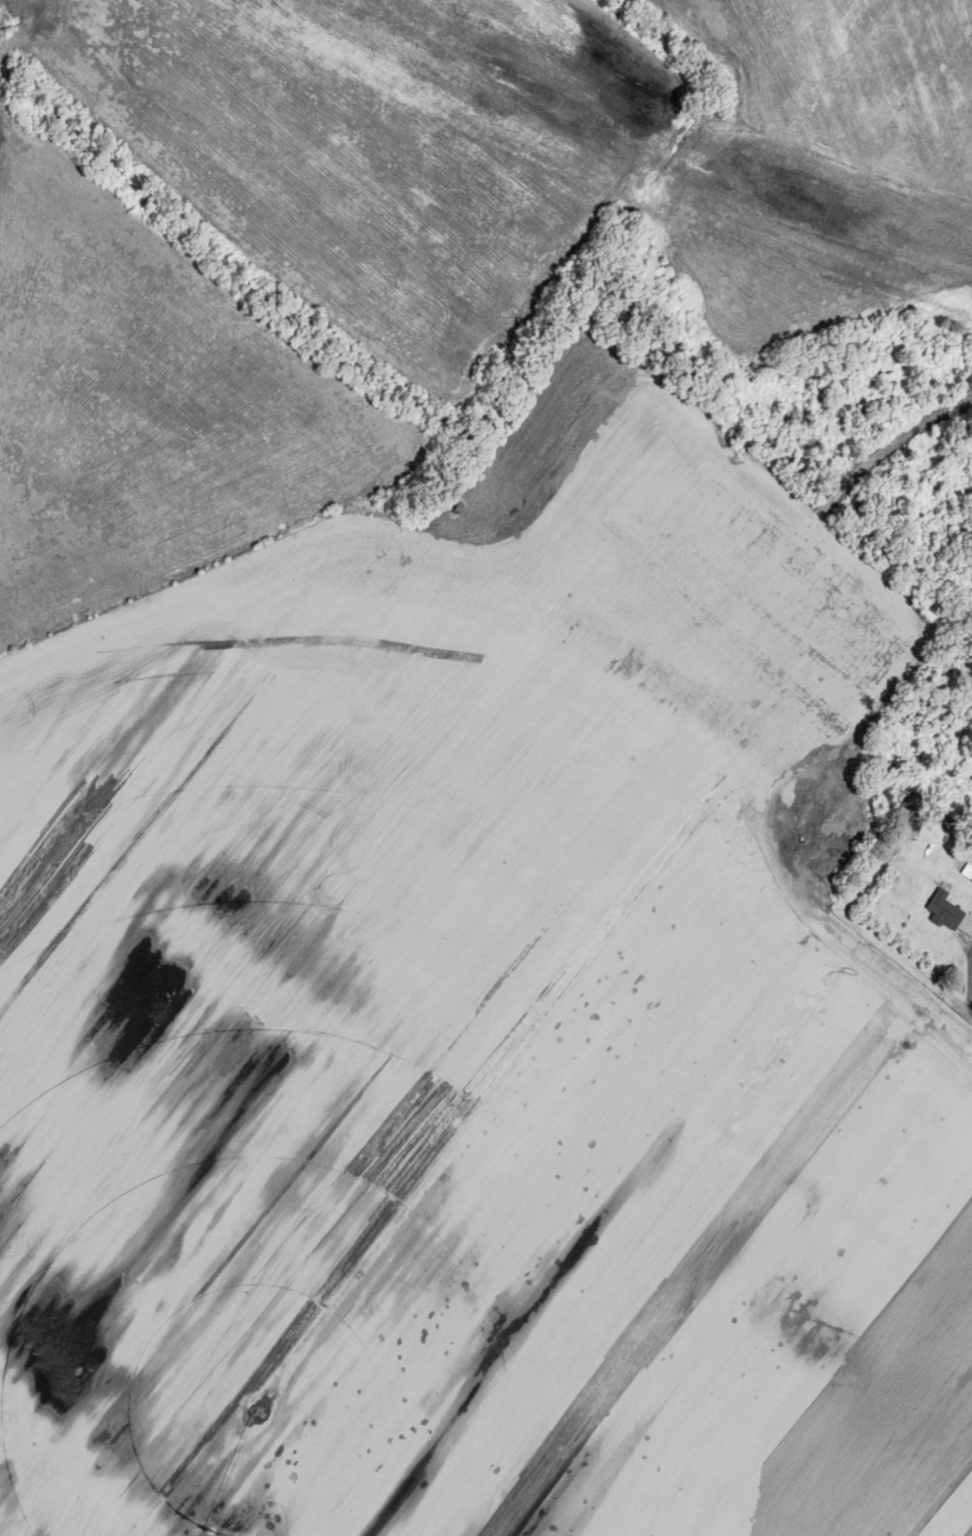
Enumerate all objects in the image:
road: (889, 447)
building: (910, 833)
building: (947, 912)
road: (970, 982)
road: (966, 1012)

